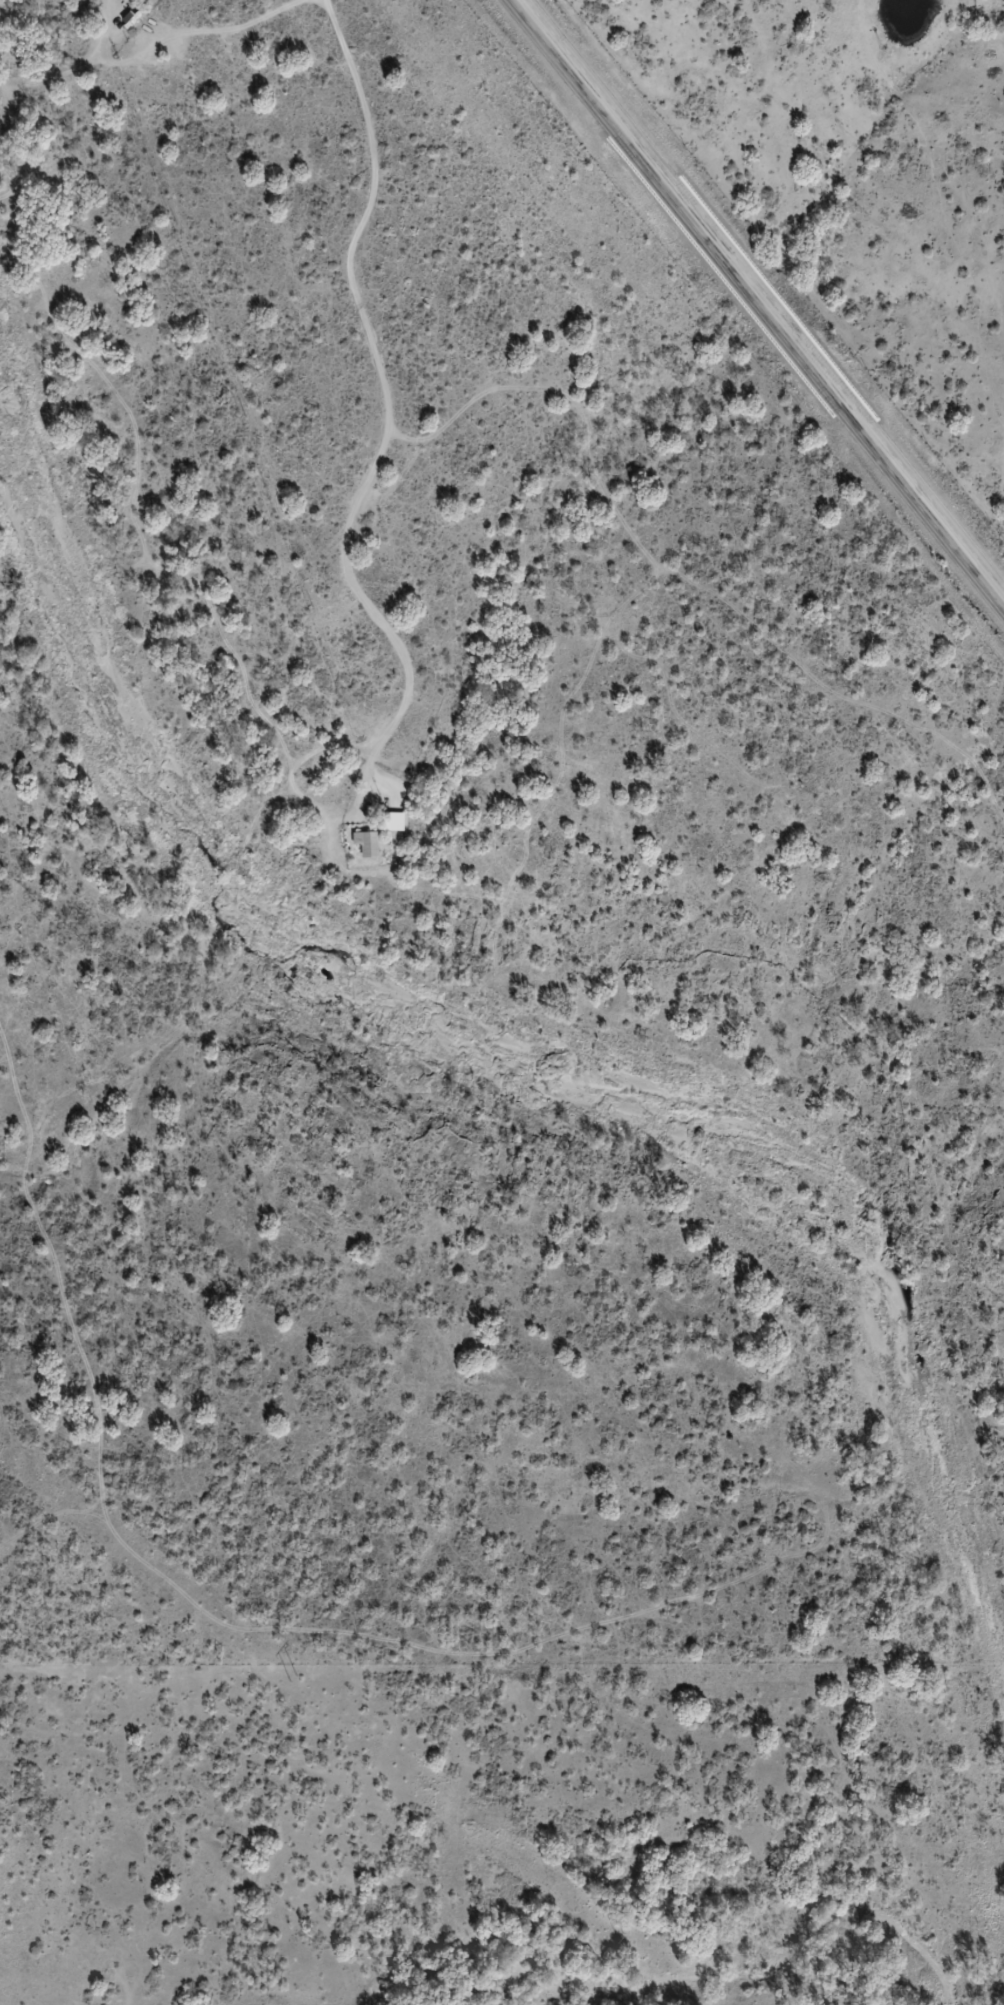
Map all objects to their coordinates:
road: (524, 160)
road: (764, 301)
building: (370, 844)
road: (527, 1669)
power tower: (301, 1678)
road: (135, 1820)
power tower: (631, 1935)

